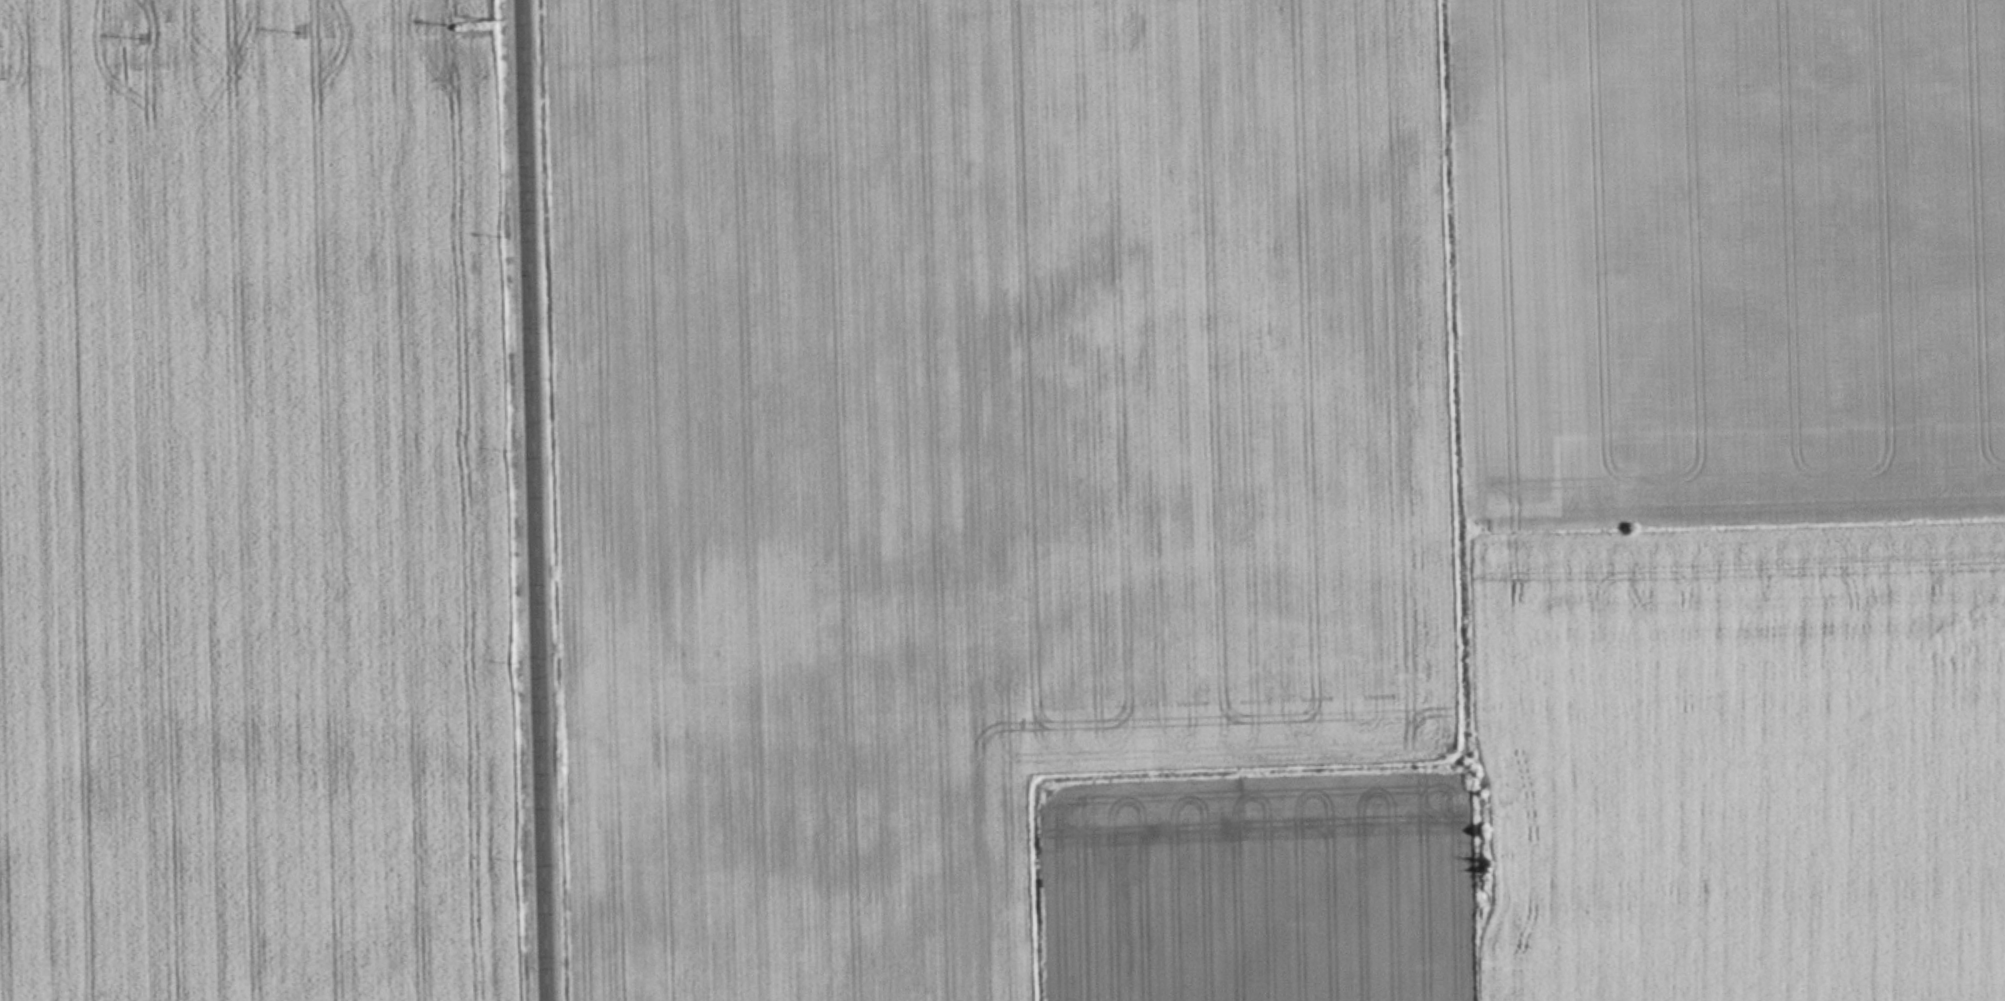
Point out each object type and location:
road: (537, 500)

